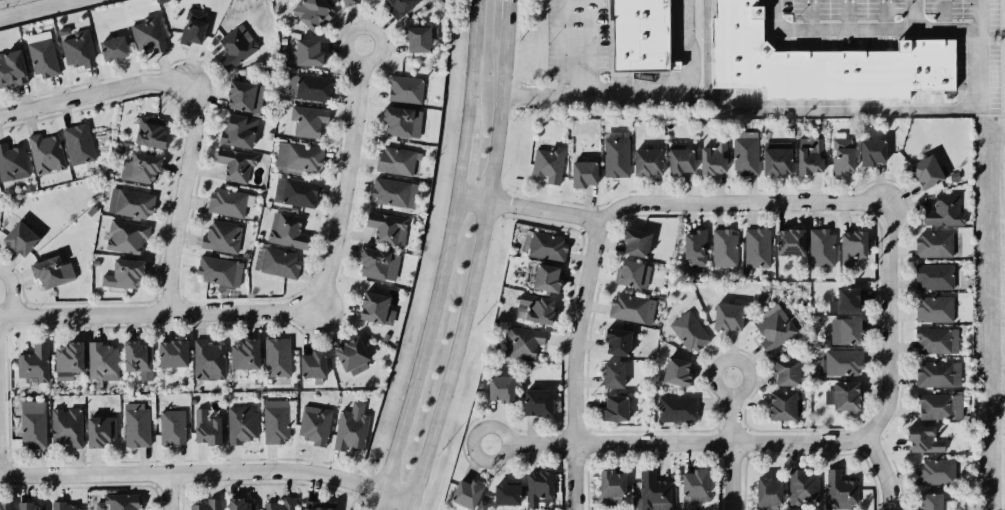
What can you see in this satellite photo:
road: (4, 0)
building: (348, 2)
building: (400, 6)
road: (506, 12)
building: (313, 13)
building: (193, 27)
building: (148, 34)
building: (638, 35)
building: (417, 39)
building: (236, 47)
building: (113, 48)
building: (78, 49)
building: (306, 54)
building: (42, 55)
building: (820, 63)
road: (471, 64)
building: (12, 69)
road: (569, 82)
building: (309, 87)
building: (405, 89)
road: (89, 95)
building: (244, 97)
road: (674, 97)
road: (850, 107)
building: (308, 121)
building: (402, 122)
building: (239, 131)
building: (150, 132)
building: (78, 144)
building: (872, 152)
building: (46, 153)
building: (745, 153)
building: (616, 154)
building: (810, 155)
building: (299, 156)
building: (842, 156)
building: (714, 158)
building: (776, 158)
building: (397, 161)
building: (680, 161)
road: (460, 162)
building: (647, 162)
building: (12, 163)
building: (236, 164)
building: (548, 164)
building: (140, 168)
building: (927, 172)
building: (583, 174)
road: (346, 176)
building: (295, 192)
building: (393, 192)
road: (180, 197)
building: (227, 202)
building: (130, 203)
road: (737, 204)
road: (526, 209)
building: (944, 211)
building: (387, 229)
building: (287, 231)
building: (126, 236)
building: (222, 237)
building: (20, 239)
building: (790, 242)
building: (636, 243)
building: (543, 246)
building: (852, 246)
building: (724, 248)
building: (756, 248)
building: (821, 248)
building: (694, 250)
building: (279, 263)
building: (378, 264)
road: (474, 265)
building: (219, 270)
building: (52, 272)
building: (124, 274)
building: (633, 274)
building: (934, 276)
building: (546, 278)
building: (846, 301)
building: (535, 308)
building: (632, 308)
building: (376, 309)
building: (934, 309)
road: (158, 312)
building: (728, 317)
road: (885, 322)
building: (774, 328)
building: (845, 331)
building: (688, 332)
road: (575, 333)
building: (617, 341)
building: (937, 341)
building: (522, 342)
building: (172, 353)
road: (420, 353)
building: (245, 354)
building: (353, 356)
building: (277, 357)
building: (138, 359)
building: (68, 360)
building: (102, 361)
building: (208, 361)
building: (840, 363)
building: (34, 364)
building: (313, 364)
building: (676, 372)
building: (786, 372)
road: (713, 374)
building: (938, 374)
building: (612, 375)
building: (501, 389)
building: (843, 396)
building: (538, 403)
building: (783, 406)
building: (940, 406)
building: (614, 409)
building: (676, 409)
building: (277, 420)
building: (33, 423)
building: (241, 423)
building: (314, 424)
building: (137, 425)
building: (66, 427)
building: (172, 427)
building: (206, 428)
building: (351, 428)
building: (100, 431)
building: (923, 440)
road: (633, 443)
road: (881, 470)
building: (936, 471)
road: (208, 472)
road: (731, 476)
road: (574, 477)
building: (694, 486)
building: (538, 488)
building: (611, 488)
building: (802, 488)
building: (840, 490)
road: (169, 492)
building: (652, 492)
building: (466, 493)
building: (507, 494)
building: (768, 494)
building: (931, 501)
building: (119, 502)
building: (240, 504)
building: (281, 504)
building: (207, 505)
building: (318, 505)
building: (481, 505)
building: (5, 506)
building: (29, 506)
building: (62, 506)
road: (410, 506)

